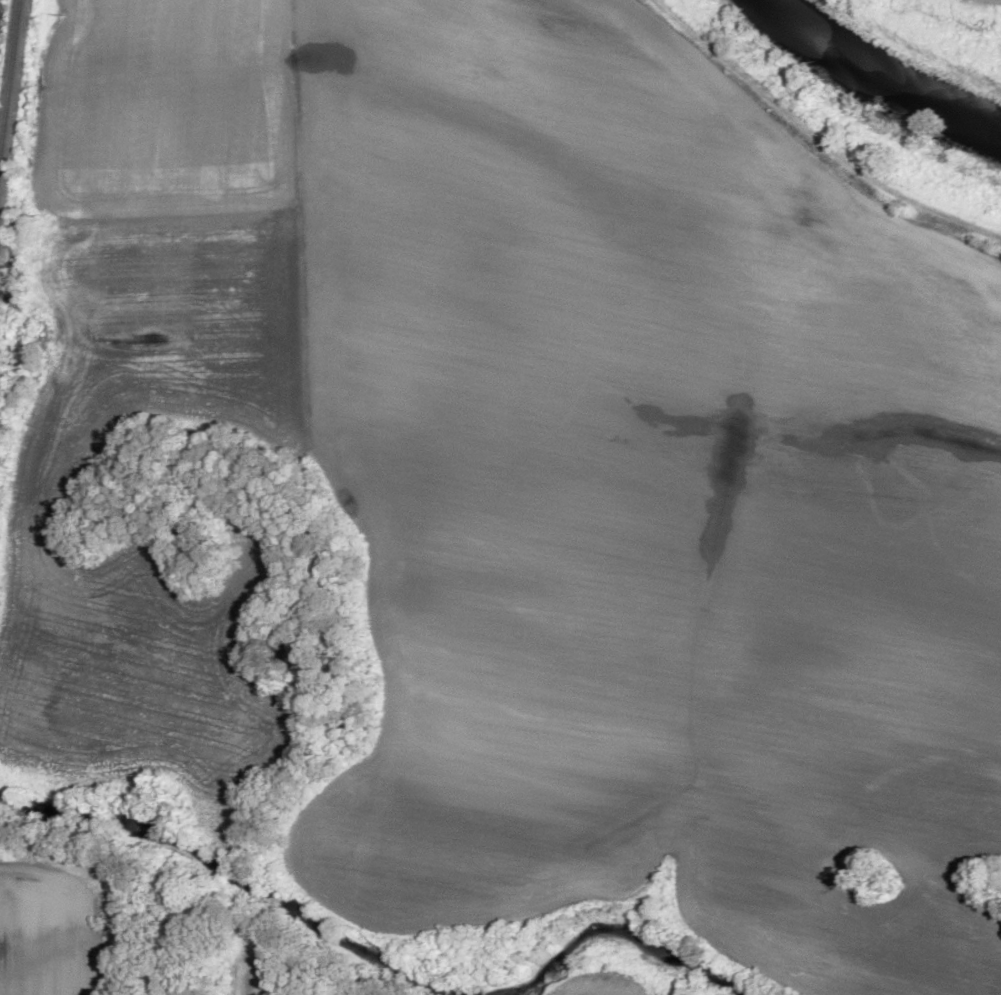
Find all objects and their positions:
railway: (9, 78)
river: (872, 85)

